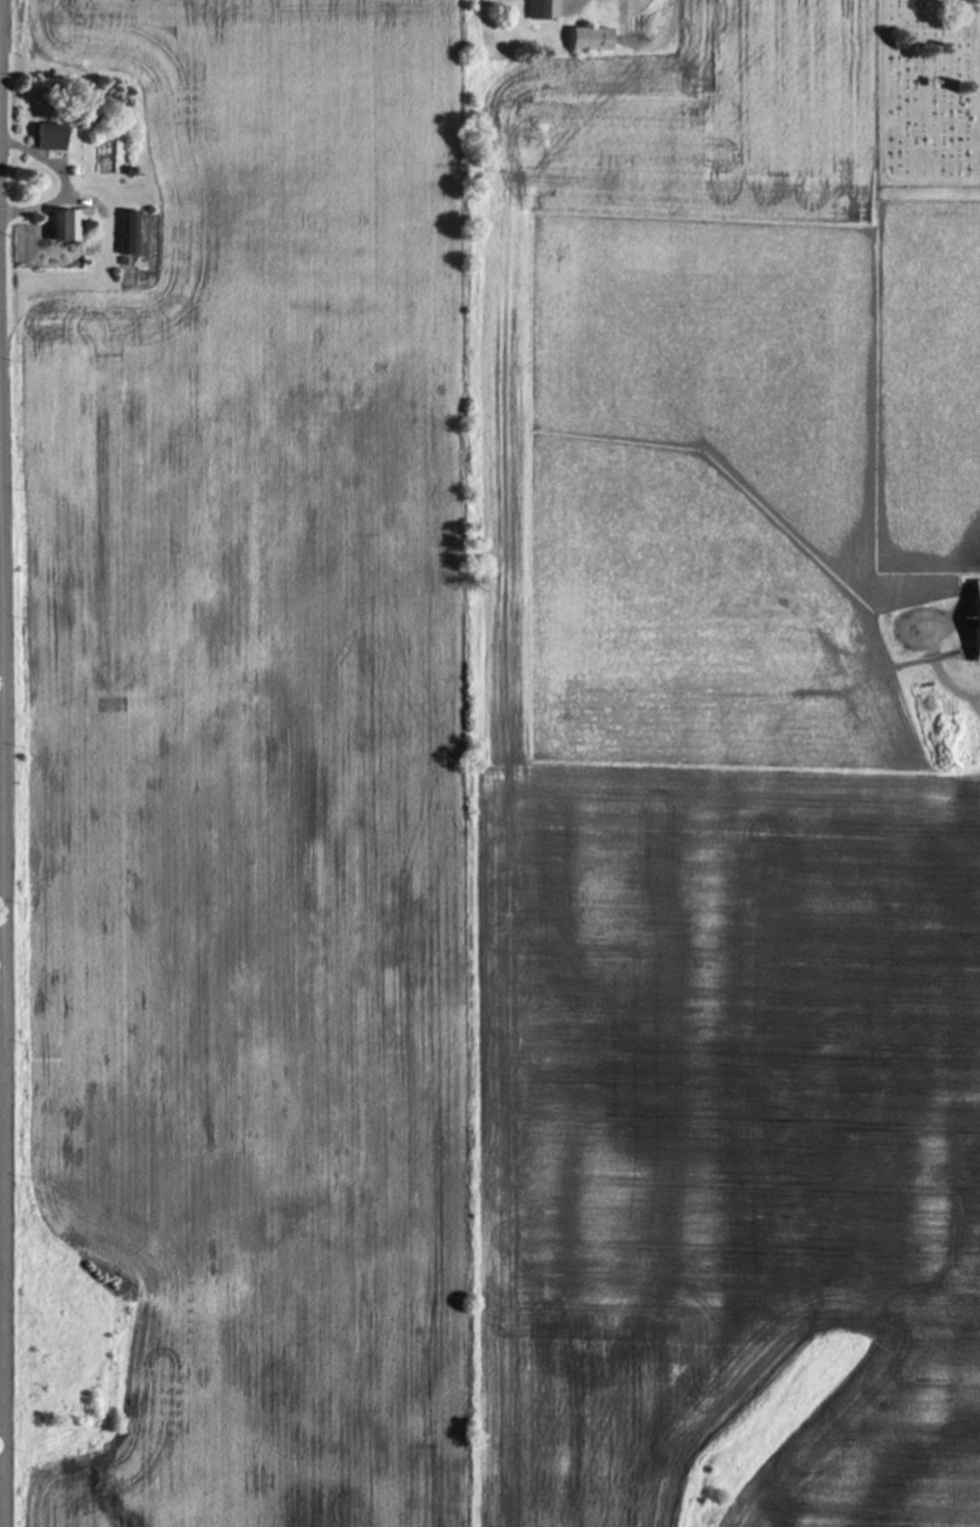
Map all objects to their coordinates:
building: (539, 10)
building: (593, 38)
building: (53, 137)
building: (70, 223)
building: (132, 233)

